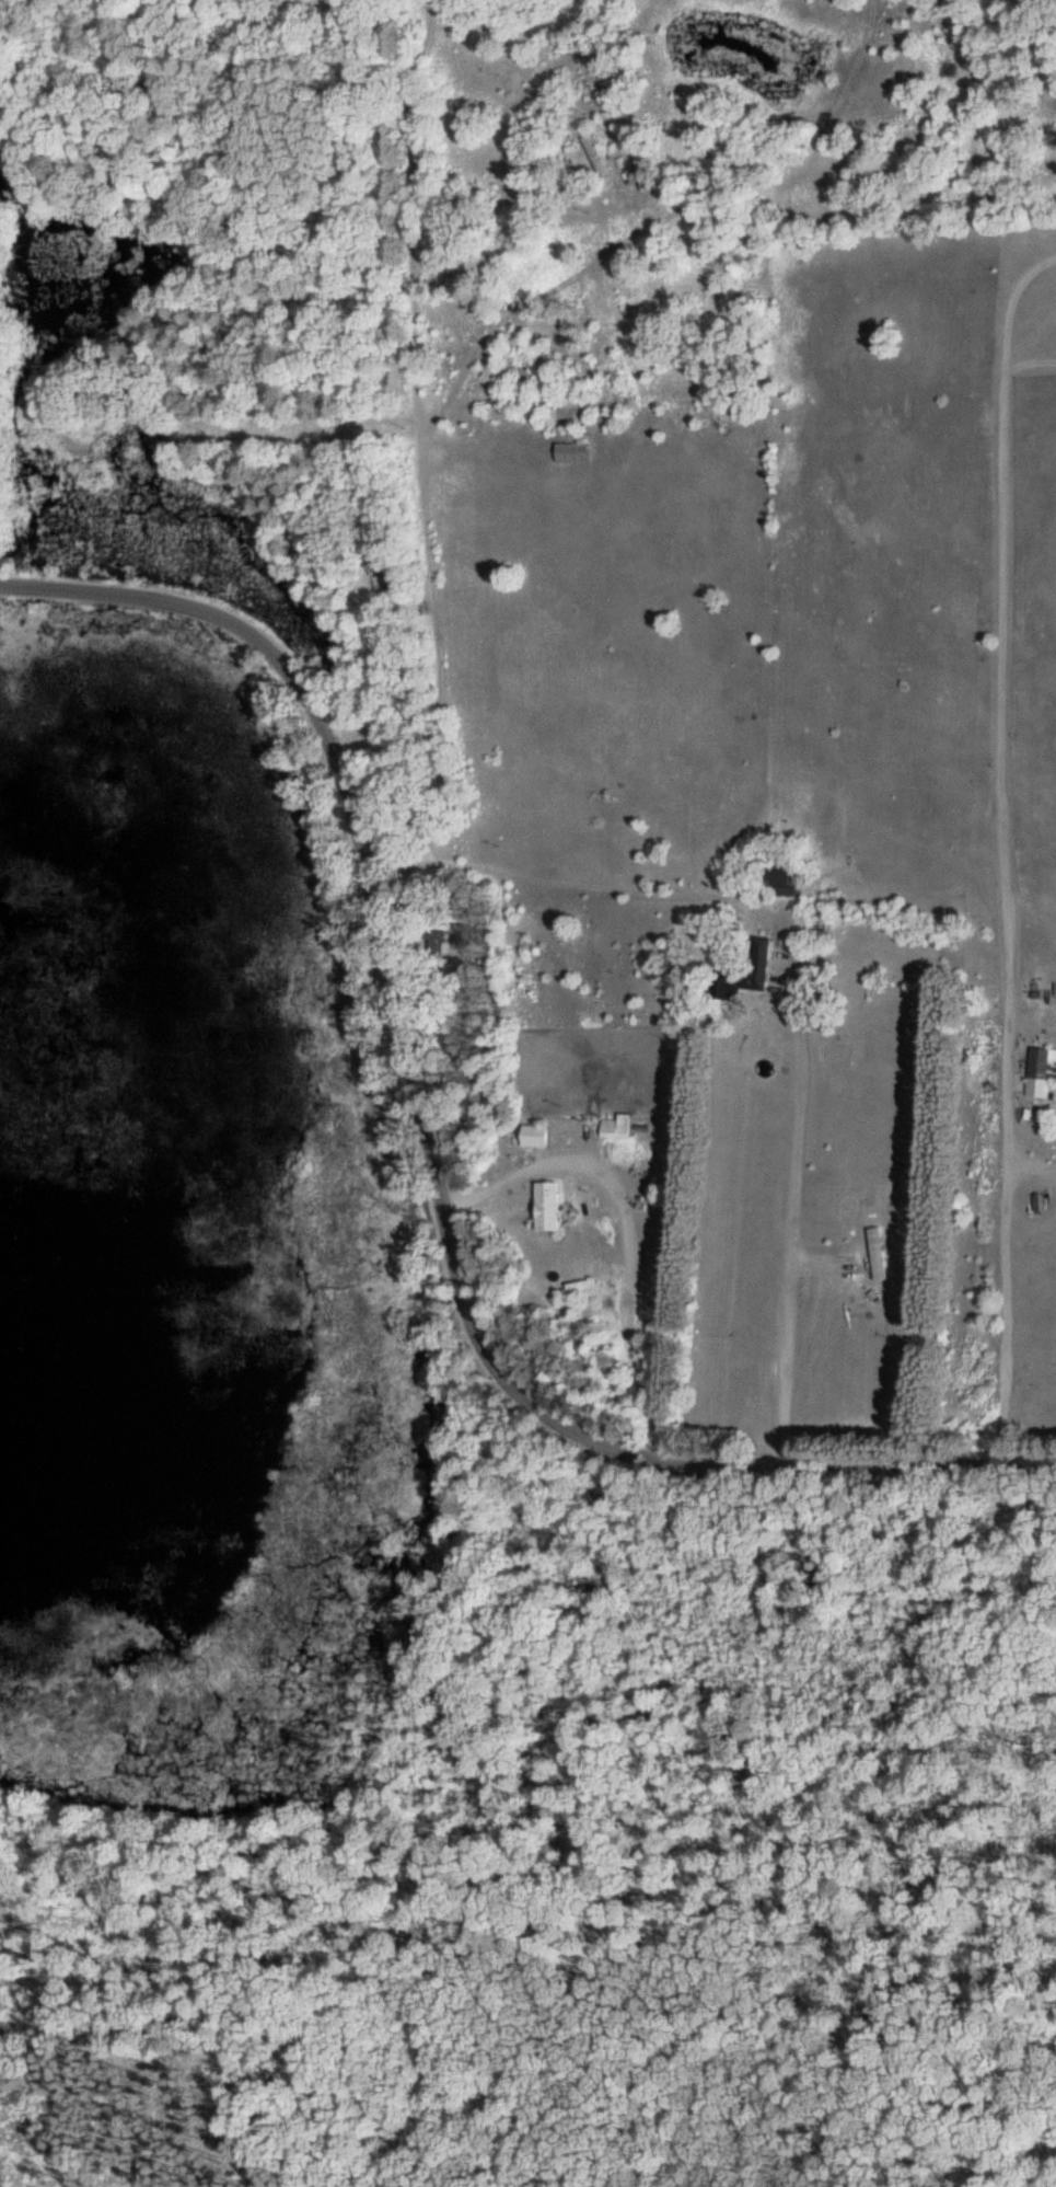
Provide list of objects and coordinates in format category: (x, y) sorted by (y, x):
building: (592, 154)
building: (638, 165)
building: (570, 451)
building: (381, 574)
building: (776, 875)
road: (391, 947)
building: (743, 970)
building: (1035, 1072)
building: (614, 1126)
building: (531, 1136)
building: (544, 1206)
road: (503, 1209)
building: (875, 1253)
road: (829, 1276)
road: (857, 1474)

